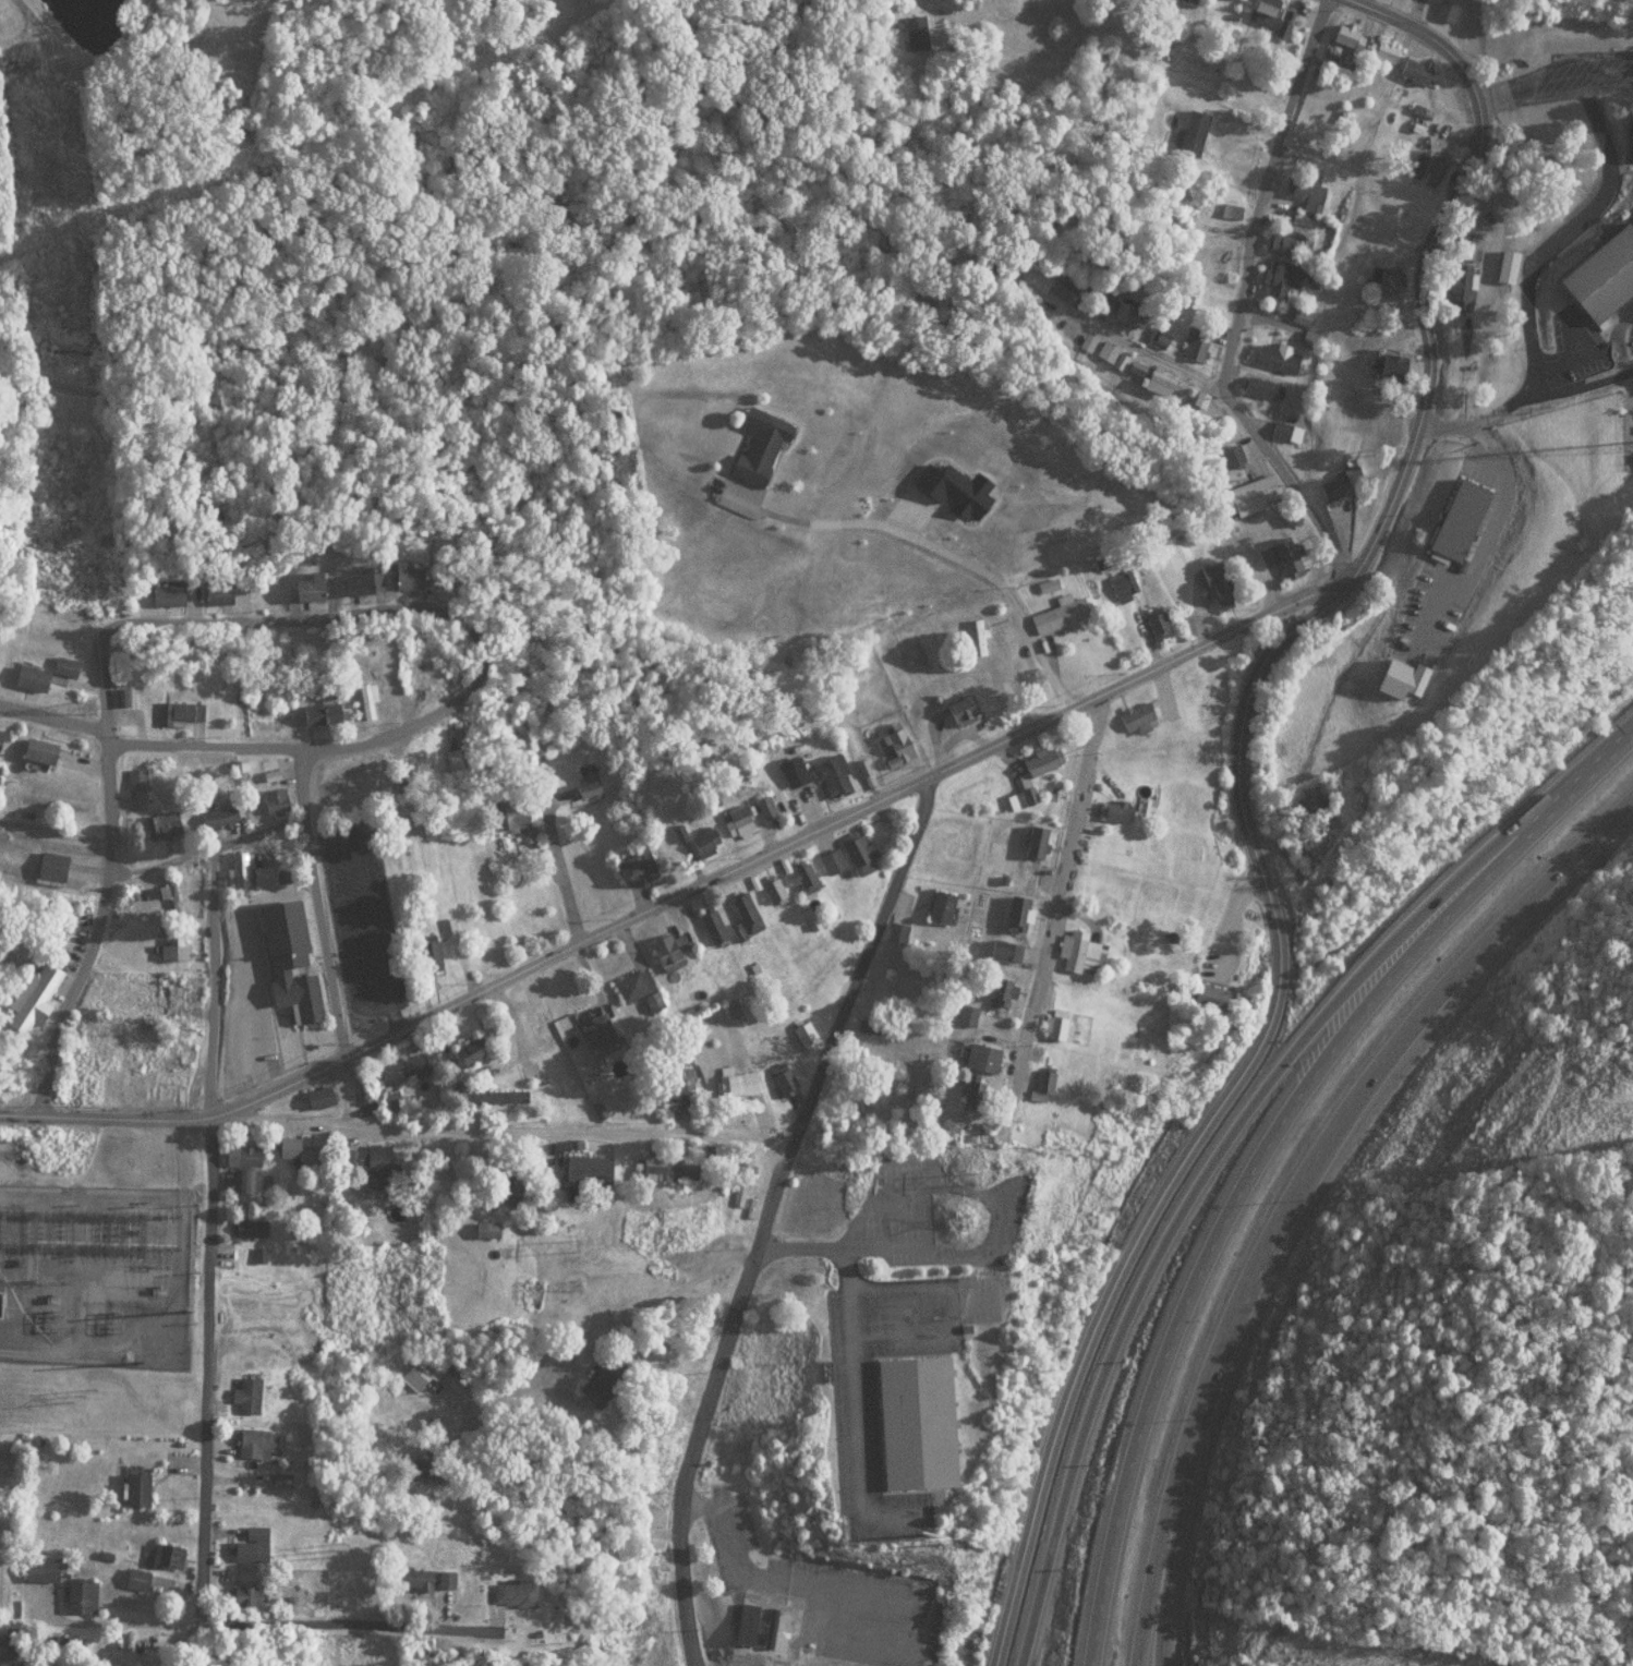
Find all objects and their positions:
building: (1187, 0)
building: (1154, 7)
road: (987, 9)
building: (1445, 10)
road: (1374, 14)
building: (1269, 16)
building: (916, 32)
building: (1341, 32)
building: (1379, 48)
building: (1411, 68)
building: (1192, 132)
building: (1428, 167)
building: (1305, 192)
building: (1302, 218)
building: (1287, 244)
road: (1241, 249)
building: (1466, 253)
building: (1597, 270)
building: (1279, 276)
building: (1381, 279)
building: (1456, 285)
building: (1075, 291)
road: (1415, 292)
building: (1303, 315)
building: (1194, 342)
building: (1275, 357)
building: (1382, 363)
building: (1160, 383)
building: (1259, 387)
building: (764, 449)
building: (1231, 454)
road: (1091, 481)
building: (1334, 483)
building: (1246, 495)
building: (933, 505)
building: (1453, 519)
building: (1281, 555)
building: (879, 566)
building: (411, 578)
building: (1215, 584)
building: (361, 585)
building: (1122, 585)
building: (312, 589)
building: (813, 590)
building: (172, 595)
building: (1057, 615)
road: (320, 620)
building: (1156, 623)
building: (978, 636)
building: (0, 662)
building: (70, 667)
building: (37, 679)
building: (1408, 679)
building: (123, 698)
building: (264, 700)
power tower: (88, 710)
building: (957, 710)
building: (181, 713)
building: (324, 714)
building: (1134, 716)
building: (129, 717)
building: (3, 743)
building: (897, 748)
road: (240, 751)
building: (458, 751)
building: (47, 752)
building: (1037, 761)
building: (796, 773)
building: (837, 777)
building: (137, 778)
building: (406, 778)
building: (579, 785)
road: (298, 787)
building: (349, 788)
building: (1020, 796)
building: (280, 802)
building: (1308, 805)
building: (766, 808)
building: (1111, 810)
building: (221, 818)
building: (520, 821)
building: (740, 821)
building: (166, 825)
building: (707, 838)
building: (1040, 842)
building: (866, 853)
road: (202, 854)
building: (836, 861)
building: (639, 865)
building: (53, 867)
building: (256, 872)
road: (551, 873)
road: (112, 876)
building: (807, 879)
road: (684, 889)
building: (774, 892)
building: (171, 895)
road: (209, 897)
building: (944, 907)
building: (1024, 915)
building: (751, 916)
building: (713, 928)
building: (900, 933)
road: (1061, 944)
building: (174, 950)
building: (1005, 951)
building: (669, 954)
building: (435, 956)
building: (1086, 956)
road: (862, 957)
building: (292, 961)
building: (642, 990)
building: (1005, 994)
building: (176, 997)
building: (1213, 997)
building: (32, 1007)
building: (971, 1017)
power tower: (118, 1025)
building: (1062, 1025)
building: (541, 1031)
building: (604, 1031)
building: (803, 1037)
building: (475, 1052)
building: (988, 1060)
building: (176, 1062)
building: (416, 1065)
building: (786, 1079)
building: (1050, 1082)
building: (975, 1091)
building: (325, 1098)
building: (503, 1098)
road: (1209, 1111)
road: (504, 1130)
road: (1230, 1134)
road: (1265, 1145)
building: (299, 1150)
building: (247, 1157)
building: (377, 1158)
building: (672, 1170)
building: (595, 1171)
road: (1292, 1175)
power tower: (970, 1179)
building: (245, 1182)
power tower: (133, 1219)
power tower: (101, 1220)
building: (254, 1228)
building: (491, 1230)
power tower: (573, 1246)
power tower: (86, 1251)
power substation: (95, 1273)
road: (215, 1276)
building: (3, 1305)
power tower: (183, 1311)
building: (418, 1376)
building: (617, 1379)
building: (253, 1393)
power tower: (80, 1399)
road: (713, 1401)
building: (907, 1420)
building: (257, 1444)
building: (141, 1489)
building: (255, 1546)
road: (1170, 1552)
power tower: (337, 1554)
building: (170, 1555)
building: (47, 1568)
building: (140, 1579)
building: (525, 1594)
building: (86, 1596)
building: (251, 1596)
building: (770, 1628)
building: (8, 1647)

